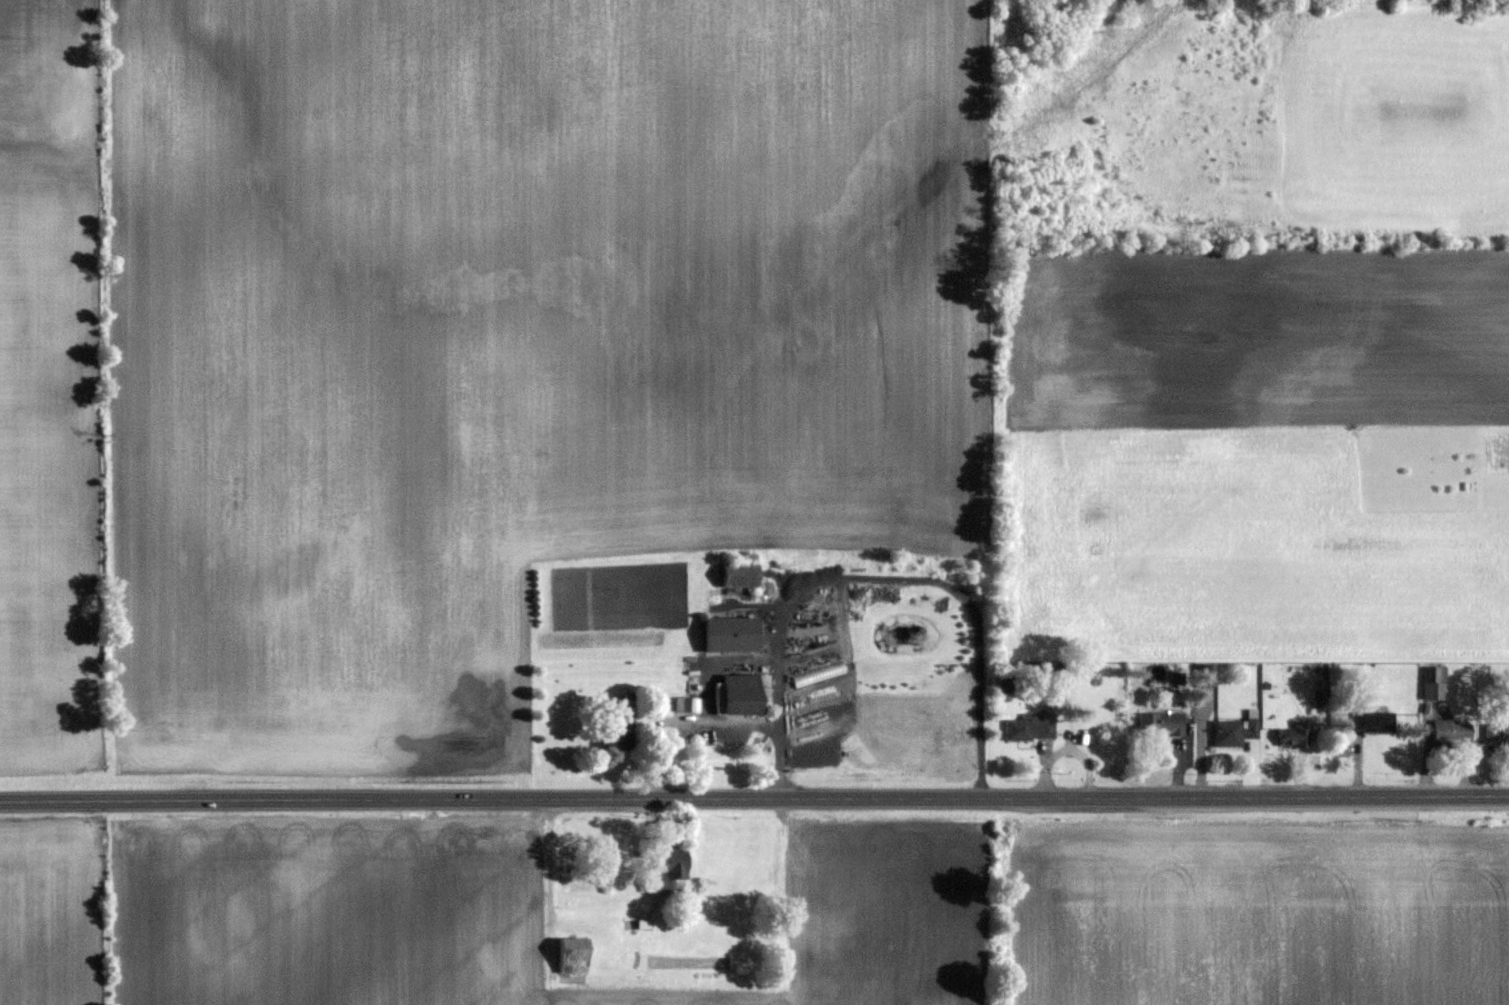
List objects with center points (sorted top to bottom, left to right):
building: (740, 575)
road: (876, 577)
building: (731, 633)
building: (1208, 675)
building: (1434, 683)
building: (1006, 685)
building: (744, 693)
building: (821, 700)
building: (687, 704)
building: (621, 718)
building: (1374, 722)
road: (693, 724)
building: (1160, 725)
building: (823, 727)
building: (1030, 729)
building: (1234, 731)
road: (652, 733)
building: (1452, 733)
building: (1497, 733)
building: (1292, 738)
building: (619, 739)
road: (754, 797)
building: (668, 872)
building: (572, 956)

